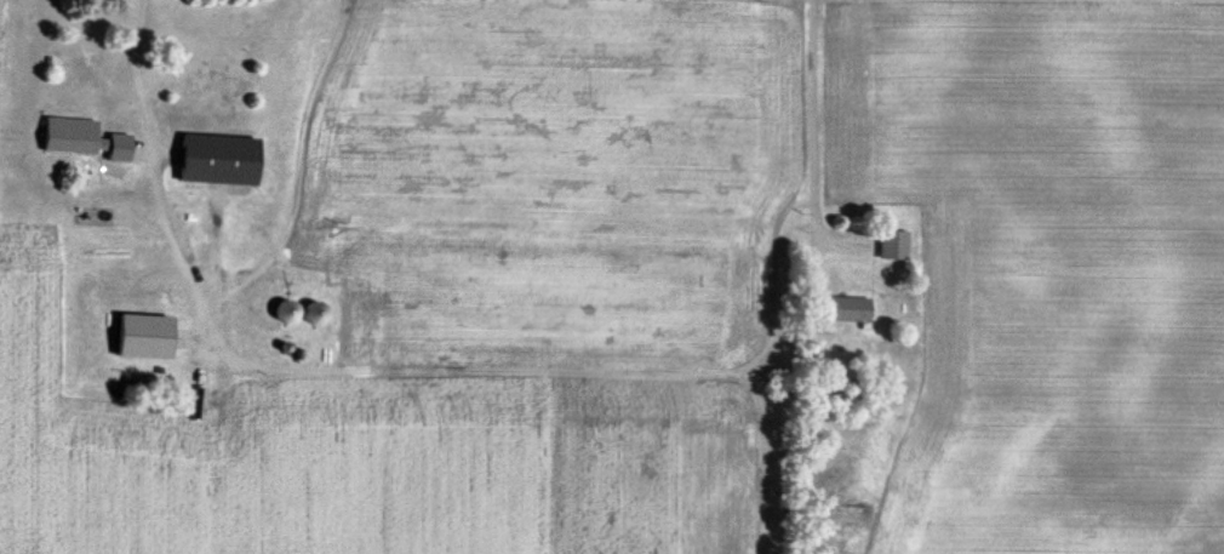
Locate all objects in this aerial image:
building: (91, 65)
road: (806, 119)
building: (221, 160)
road: (99, 200)
building: (894, 246)
building: (848, 310)
building: (287, 313)
building: (316, 314)
building: (147, 337)

